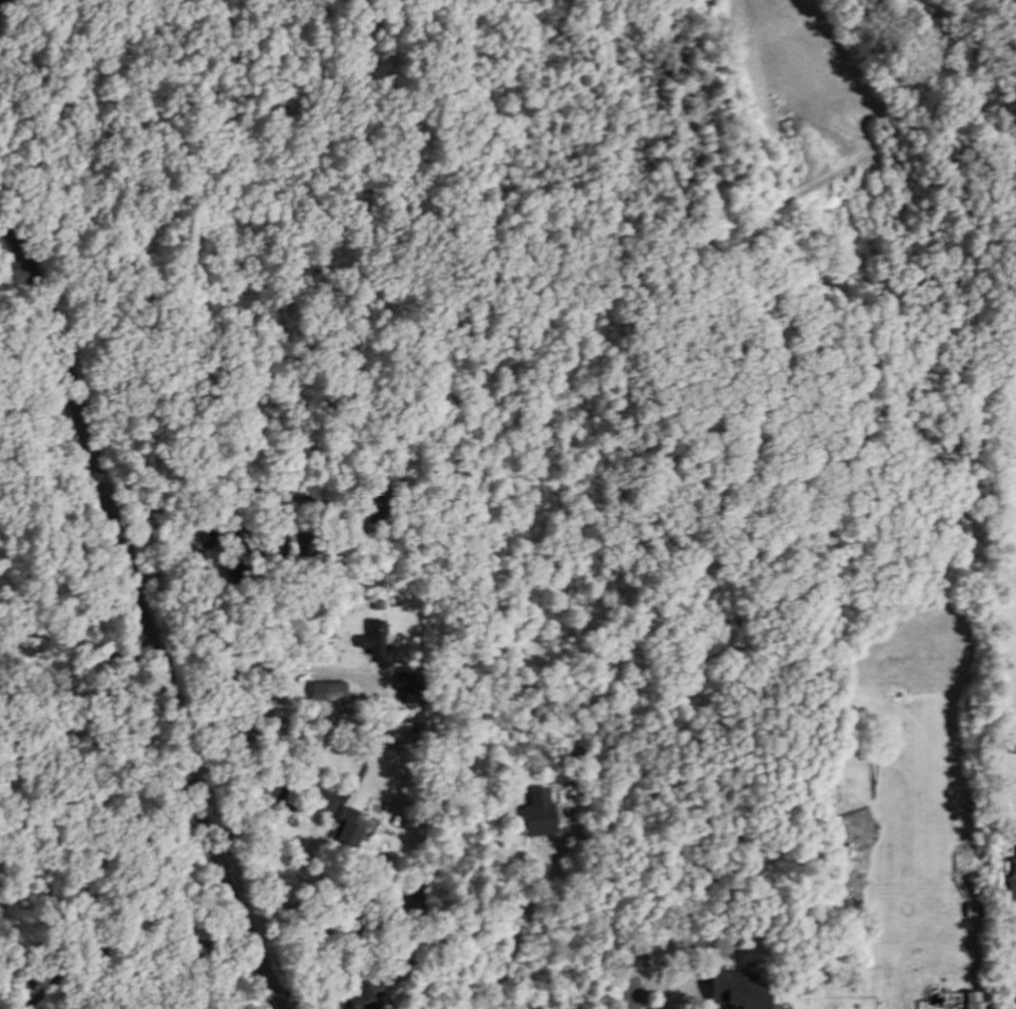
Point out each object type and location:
road: (234, 492)
building: (377, 508)
building: (282, 522)
building: (222, 532)
building: (245, 539)
building: (304, 544)
road: (189, 560)
building: (235, 562)
road: (135, 616)
building: (994, 626)
road: (75, 640)
building: (371, 641)
road: (265, 665)
building: (406, 687)
building: (326, 689)
building: (393, 730)
building: (455, 760)
road: (303, 808)
building: (535, 812)
road: (97, 820)
building: (346, 824)
building: (1010, 865)
road: (476, 910)
road: (122, 949)
road: (1011, 950)
building: (633, 959)
building: (415, 979)
building: (737, 989)
road: (670, 992)
building: (358, 994)
building: (974, 1007)

